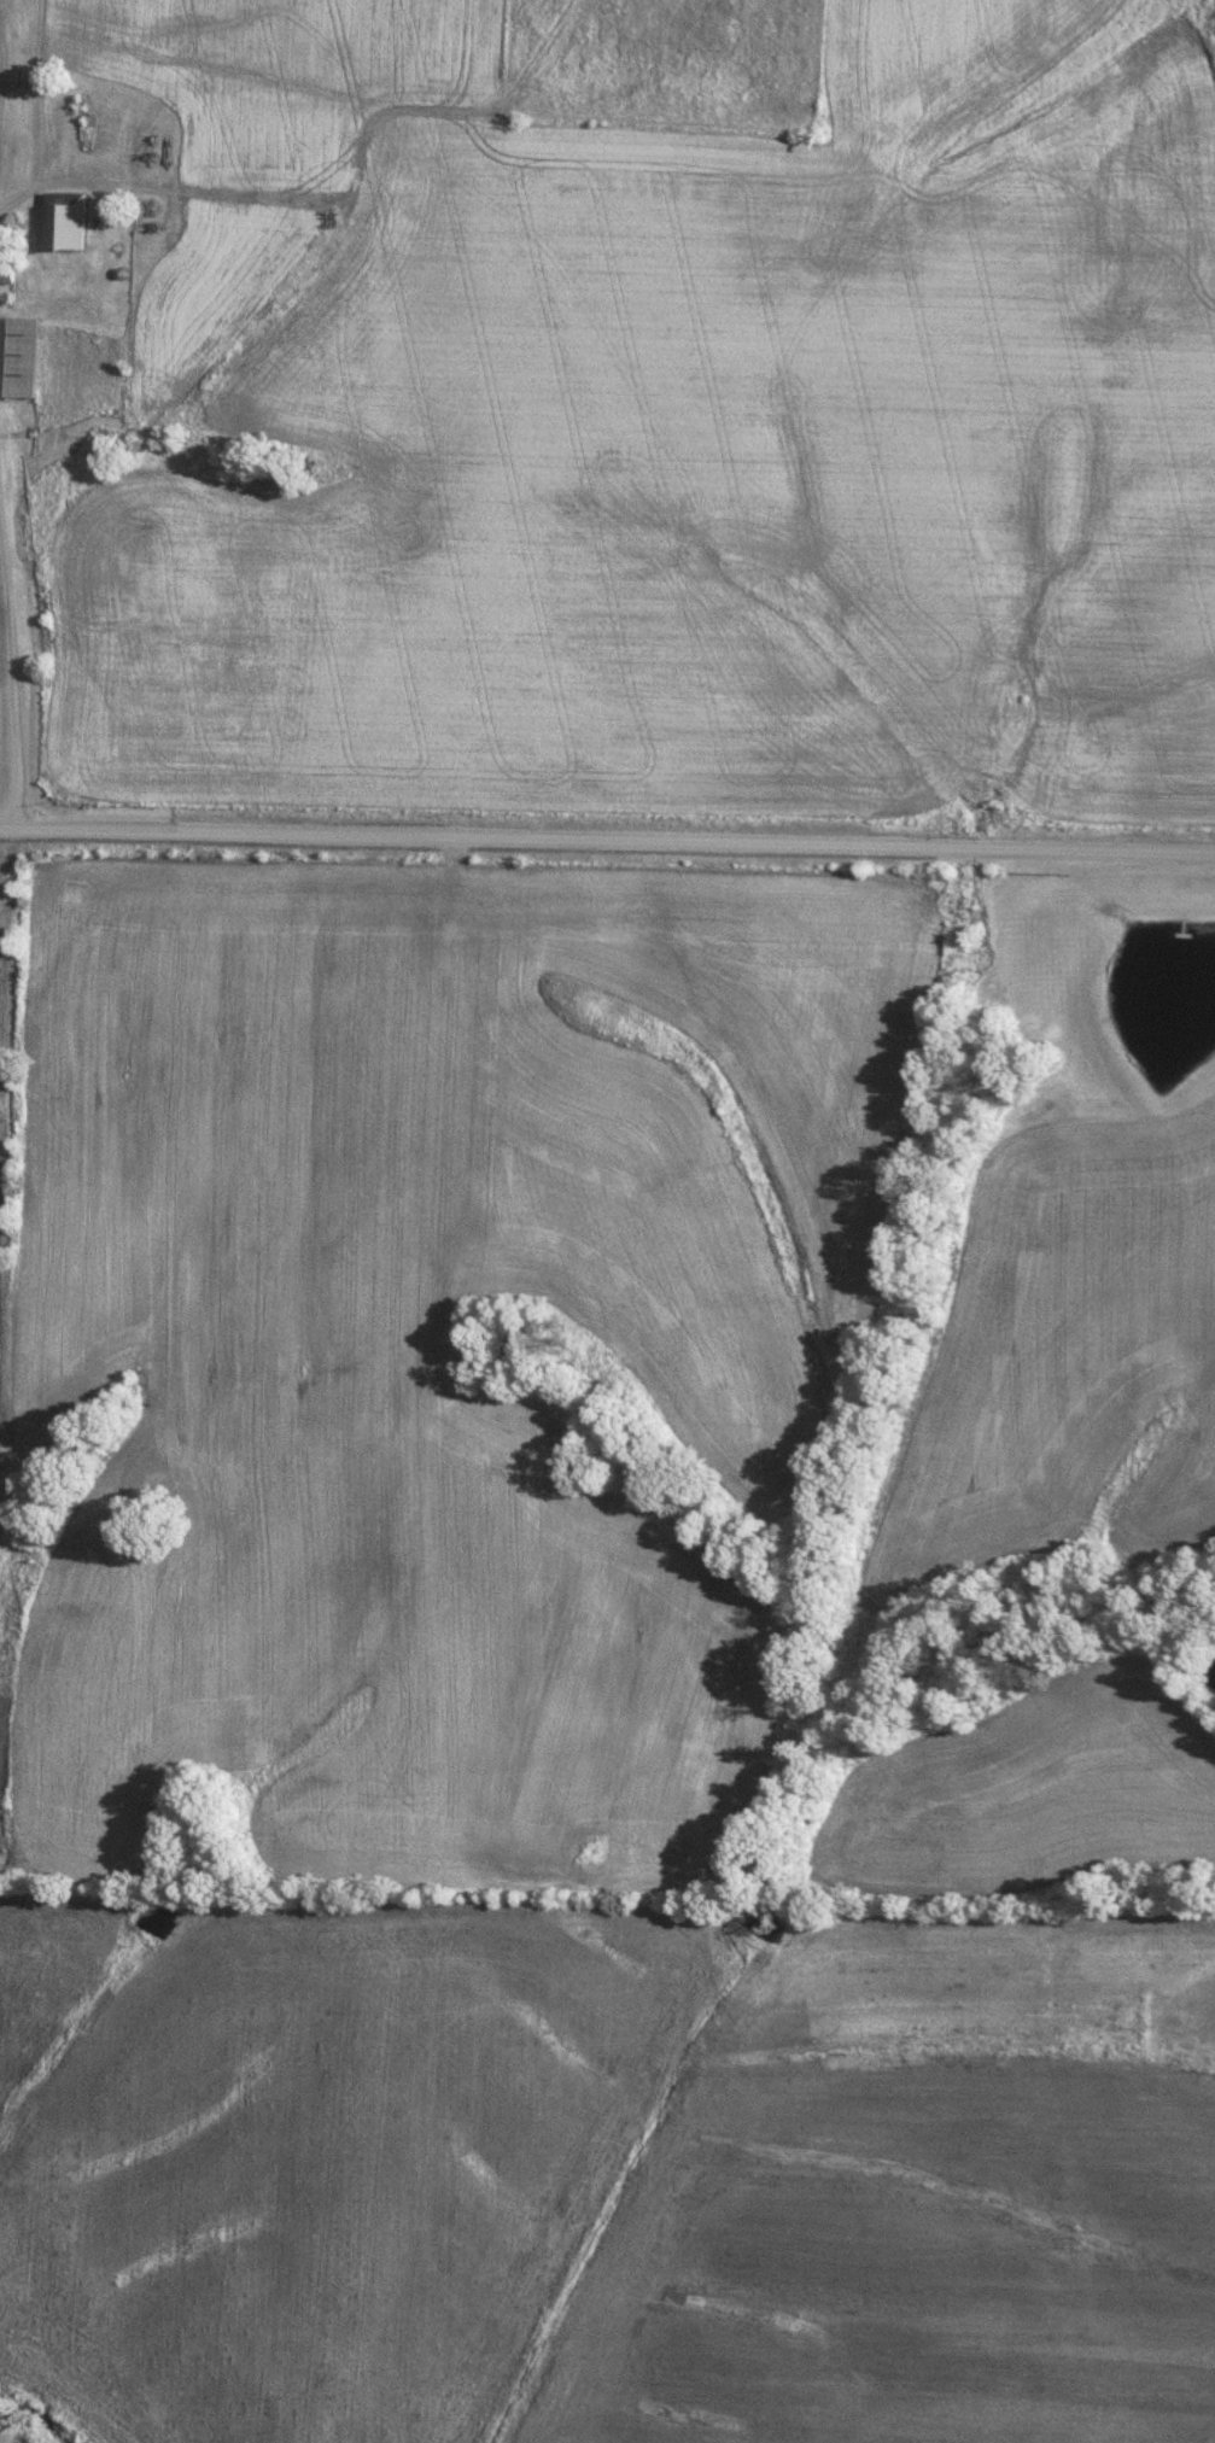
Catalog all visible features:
building: (64, 222)
building: (6, 275)
building: (18, 357)
road: (607, 841)

